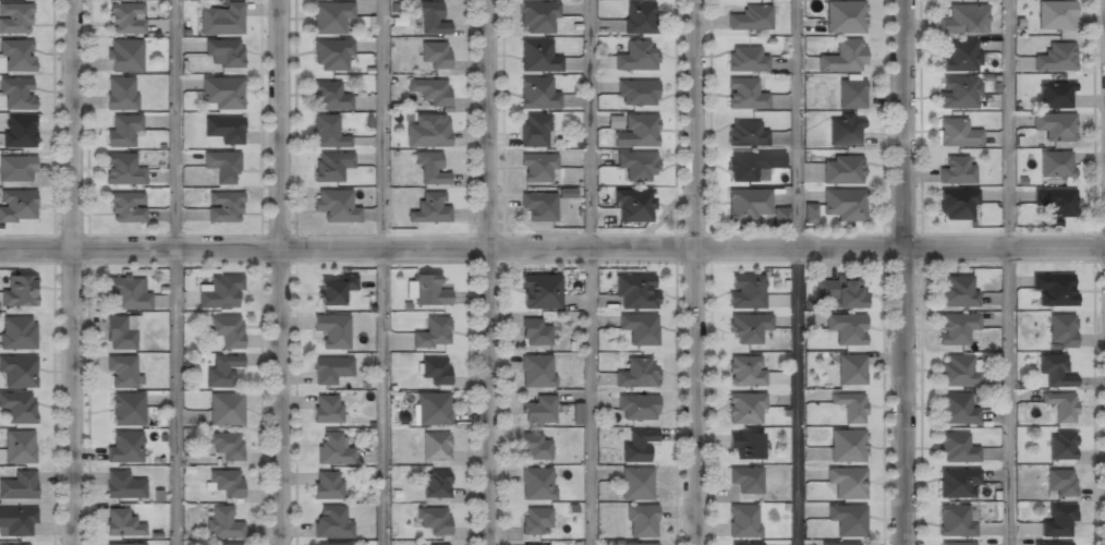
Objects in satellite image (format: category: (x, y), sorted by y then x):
building: (1055, 15)
building: (330, 16)
building: (843, 16)
building: (428, 17)
building: (537, 17)
building: (639, 17)
building: (126, 19)
building: (220, 19)
building: (750, 19)
building: (15, 20)
building: (963, 20)
building: (223, 52)
building: (331, 53)
building: (435, 55)
building: (124, 56)
building: (958, 56)
building: (16, 57)
building: (537, 57)
building: (635, 57)
building: (843, 57)
building: (745, 58)
building: (1055, 59)
building: (428, 92)
building: (222, 93)
building: (16, 94)
building: (121, 94)
building: (536, 94)
building: (636, 94)
building: (850, 94)
building: (958, 94)
building: (744, 95)
building: (1054, 95)
building: (328, 96)
road: (174, 122)
road: (380, 122)
road: (587, 122)
building: (1054, 126)
building: (223, 129)
building: (122, 131)
building: (327, 131)
building: (534, 131)
building: (640, 131)
building: (17, 132)
building: (427, 132)
building: (843, 132)
building: (745, 133)
building: (957, 134)
building: (1054, 165)
building: (221, 166)
building: (330, 166)
building: (745, 166)
building: (636, 167)
building: (537, 168)
building: (16, 169)
building: (122, 170)
building: (429, 170)
building: (956, 170)
building: (841, 171)
building: (1055, 203)
building: (746, 205)
building: (843, 205)
building: (955, 205)
building: (223, 206)
building: (335, 206)
building: (633, 206)
building: (17, 207)
building: (539, 207)
building: (126, 208)
building: (429, 209)
building: (809, 213)
building: (781, 218)
road: (552, 244)
road: (75, 271)
road: (284, 271)
road: (491, 271)
road: (1009, 271)
road: (702, 272)
road: (798, 272)
road: (907, 272)
building: (1053, 288)
building: (335, 289)
building: (17, 291)
building: (221, 291)
building: (424, 291)
building: (839, 291)
building: (541, 292)
building: (634, 292)
building: (745, 292)
building: (956, 292)
building: (127, 294)
building: (746, 327)
building: (846, 328)
building: (639, 329)
building: (955, 329)
building: (226, 330)
building: (331, 330)
building: (1060, 330)
building: (534, 331)
building: (433, 332)
building: (17, 334)
building: (119, 334)
building: (329, 368)
building: (850, 368)
building: (122, 371)
building: (221, 371)
building: (433, 371)
building: (536, 371)
building: (1054, 371)
building: (19, 372)
building: (744, 372)
building: (956, 372)
building: (635, 374)
road: (174, 395)
road: (380, 395)
road: (588, 395)
building: (850, 405)
building: (1060, 405)
building: (17, 408)
building: (636, 408)
building: (126, 409)
building: (226, 409)
building: (327, 409)
building: (744, 409)
building: (955, 409)
building: (432, 410)
building: (538, 410)
building: (573, 413)
building: (226, 445)
building: (743, 445)
building: (124, 446)
building: (636, 446)
building: (847, 446)
building: (1060, 446)
building: (19, 447)
building: (435, 447)
building: (535, 447)
building: (956, 448)
building: (333, 449)
building: (745, 479)
building: (224, 483)
building: (846, 483)
building: (957, 483)
building: (1059, 483)
building: (535, 484)
building: (635, 484)
building: (327, 485)
building: (436, 485)
building: (19, 486)
building: (123, 486)
building: (847, 520)
building: (956, 520)
building: (433, 521)
building: (743, 521)
building: (1057, 521)
building: (16, 522)
building: (330, 522)
building: (535, 522)
building: (641, 522)
building: (121, 523)
building: (222, 524)
building: (744, 543)
building: (956, 543)
building: (1052, 543)
building: (23, 544)
building: (118, 544)
building: (223, 544)
building: (323, 544)
building: (524, 544)
building: (639, 544)
building: (850, 544)

